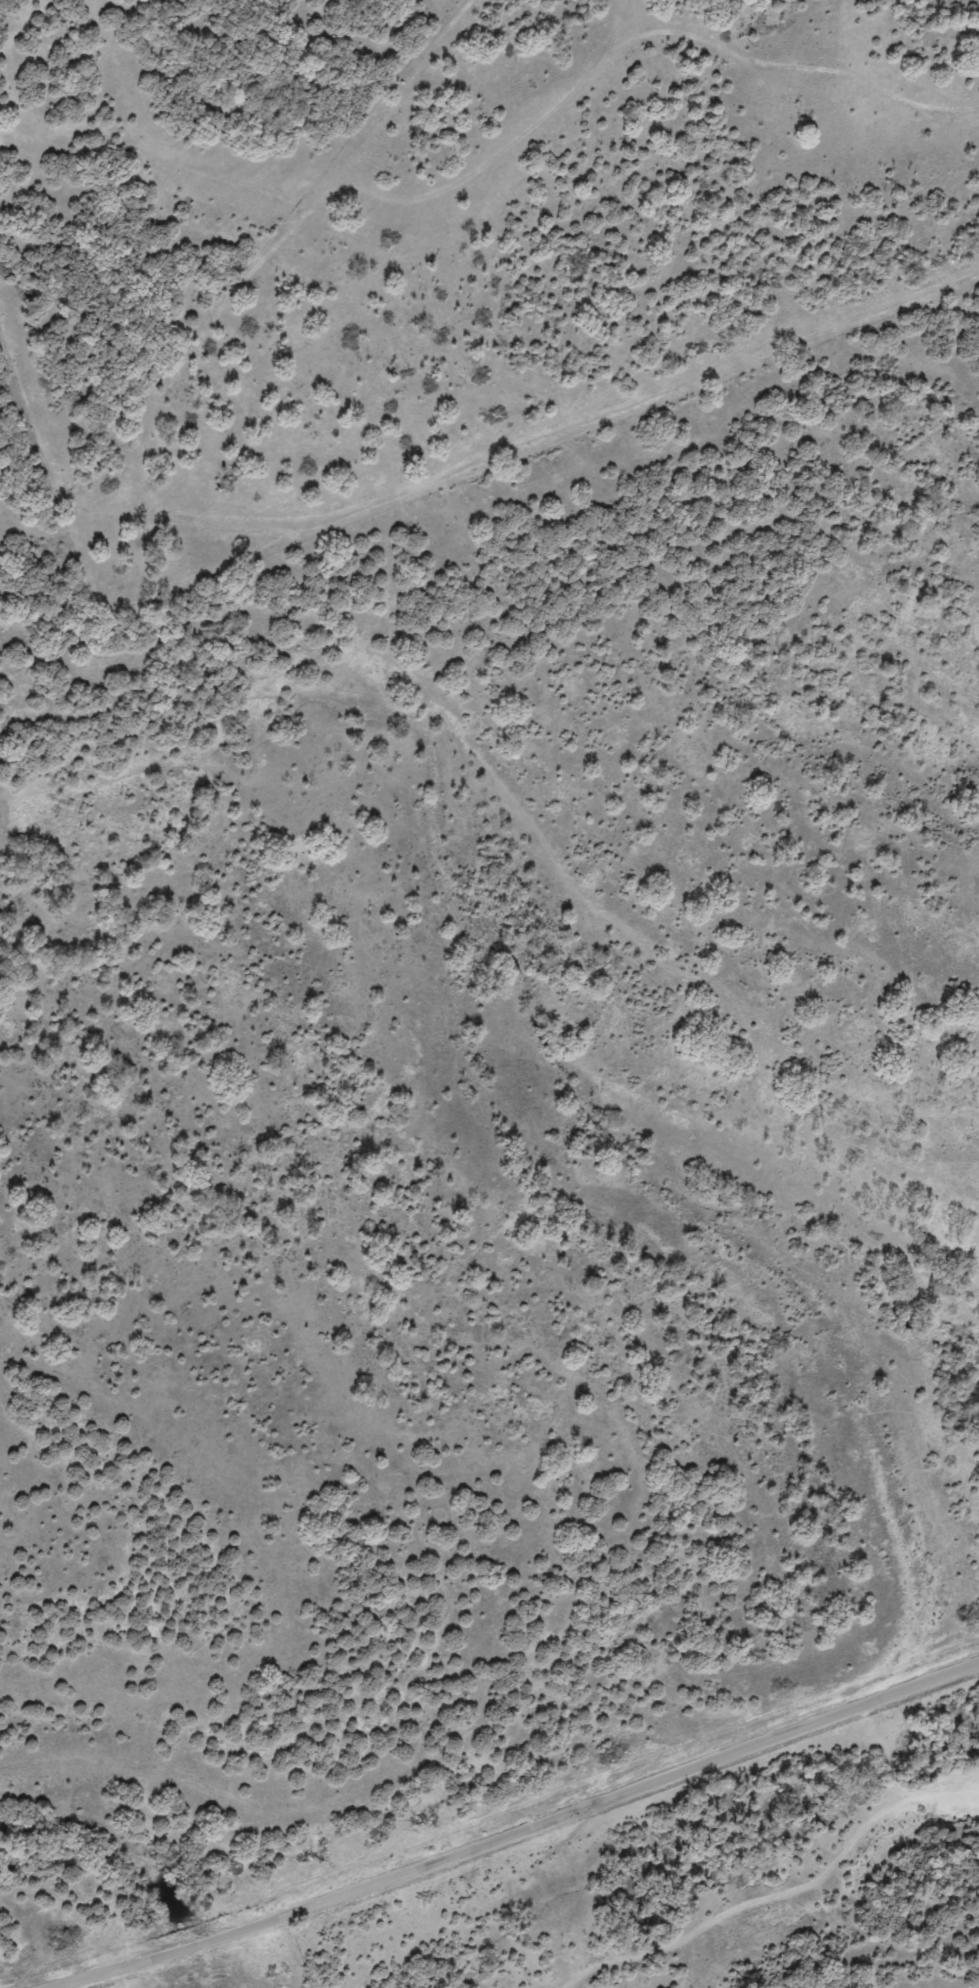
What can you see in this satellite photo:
road: (521, 1834)

